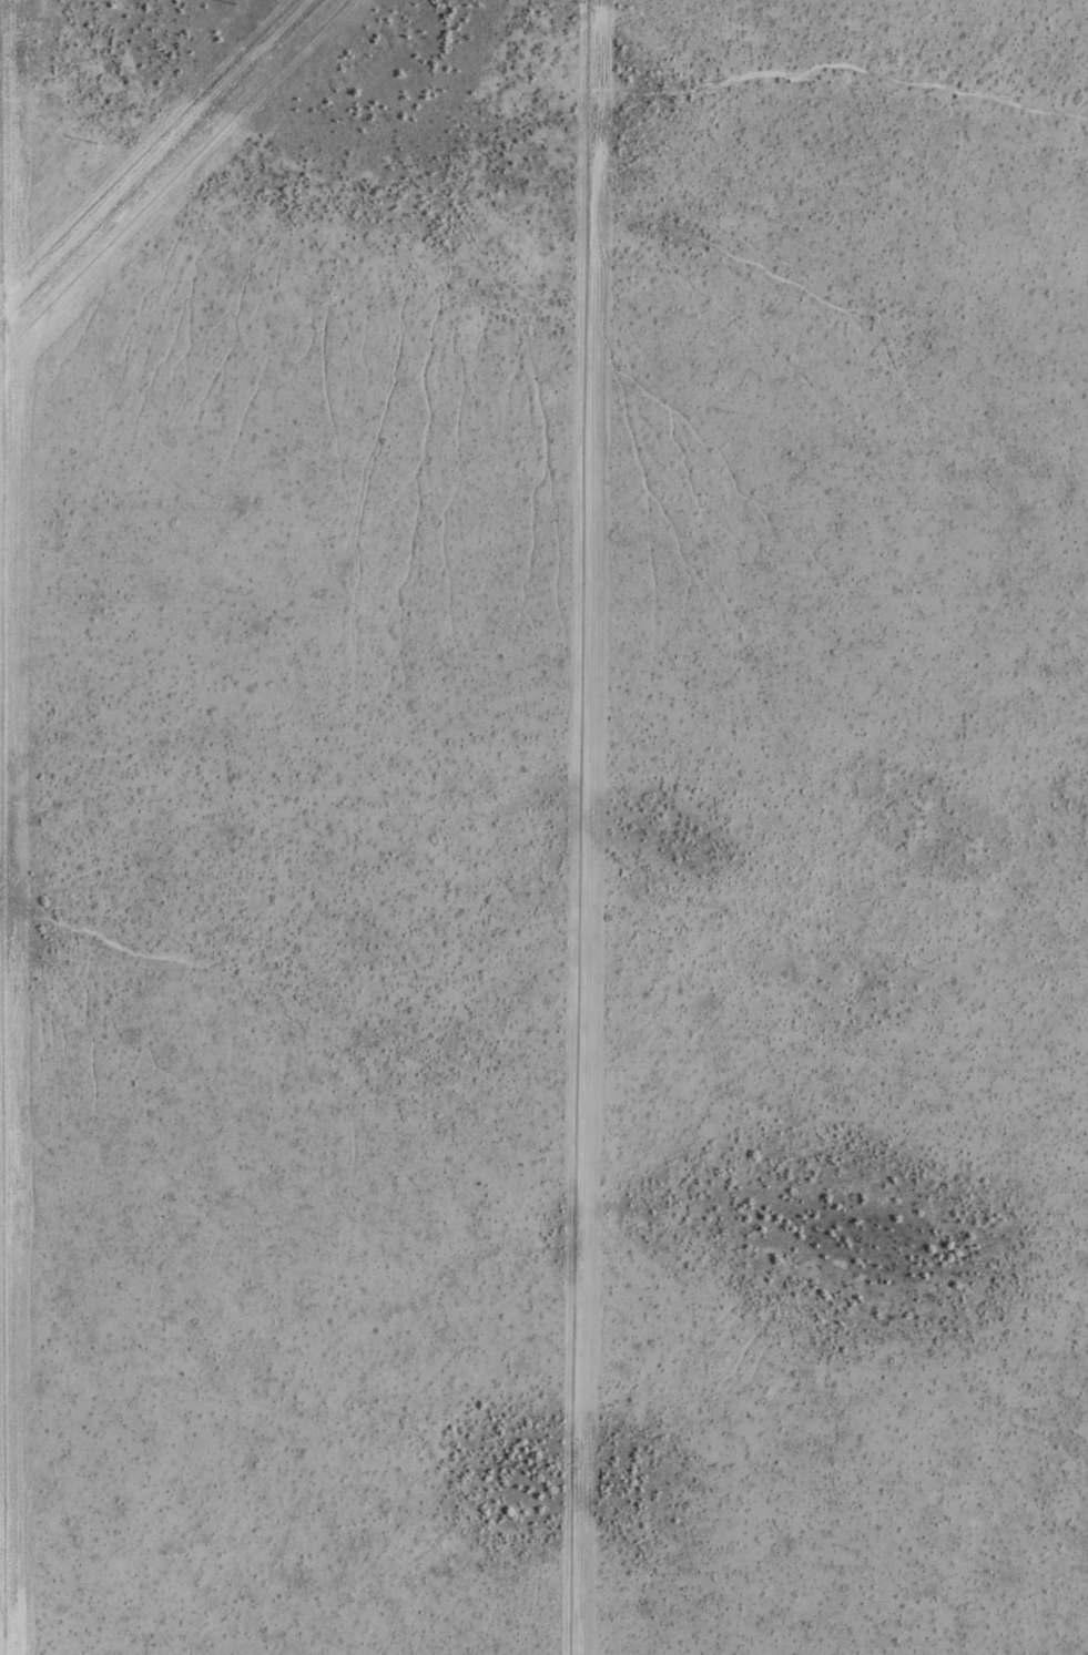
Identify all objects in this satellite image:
road: (288, 1593)
road: (704, 1645)

